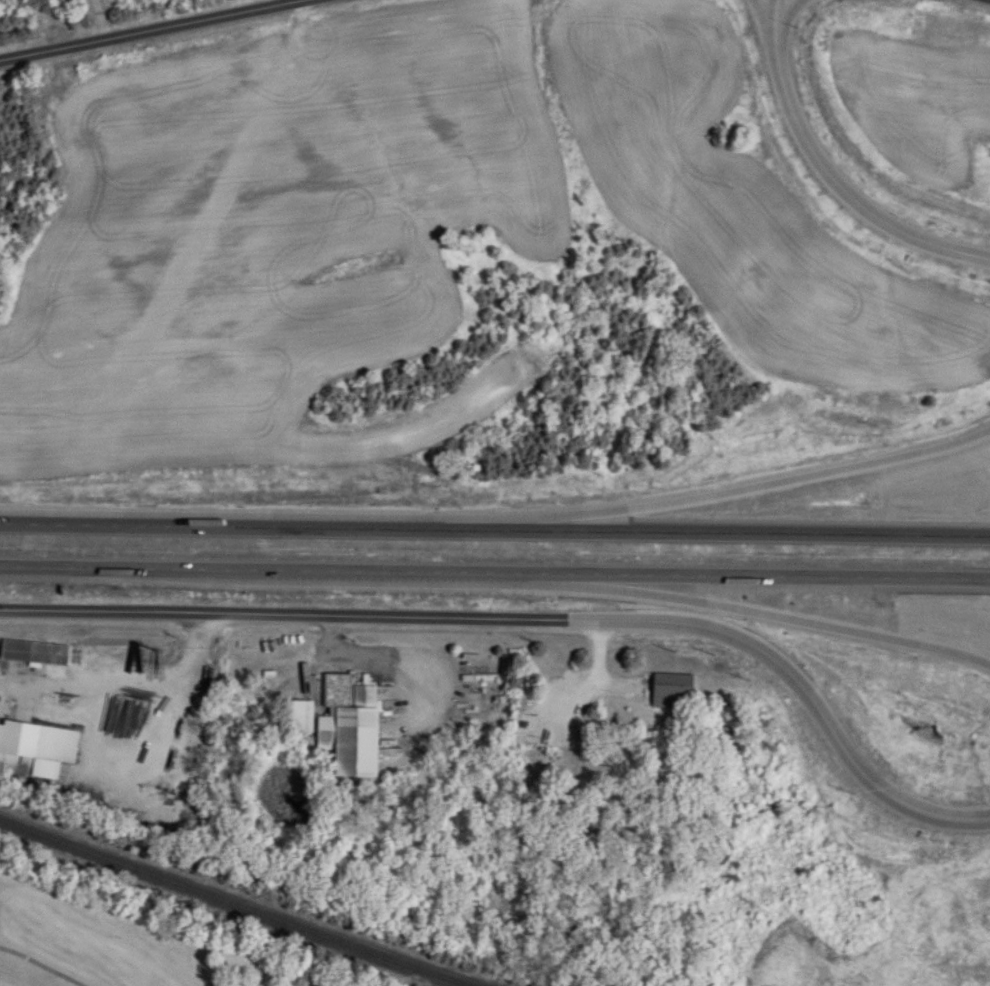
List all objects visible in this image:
road: (989, 0)
road: (103, 18)
road: (152, 28)
road: (829, 172)
road: (750, 479)
road: (494, 530)
road: (494, 577)
road: (779, 616)
road: (531, 623)
building: (35, 654)
road: (380, 656)
road: (198, 658)
road: (595, 679)
road: (46, 680)
building: (673, 693)
building: (296, 717)
building: (350, 728)
building: (24, 748)
road: (103, 775)
railway: (246, 902)
road: (42, 965)

